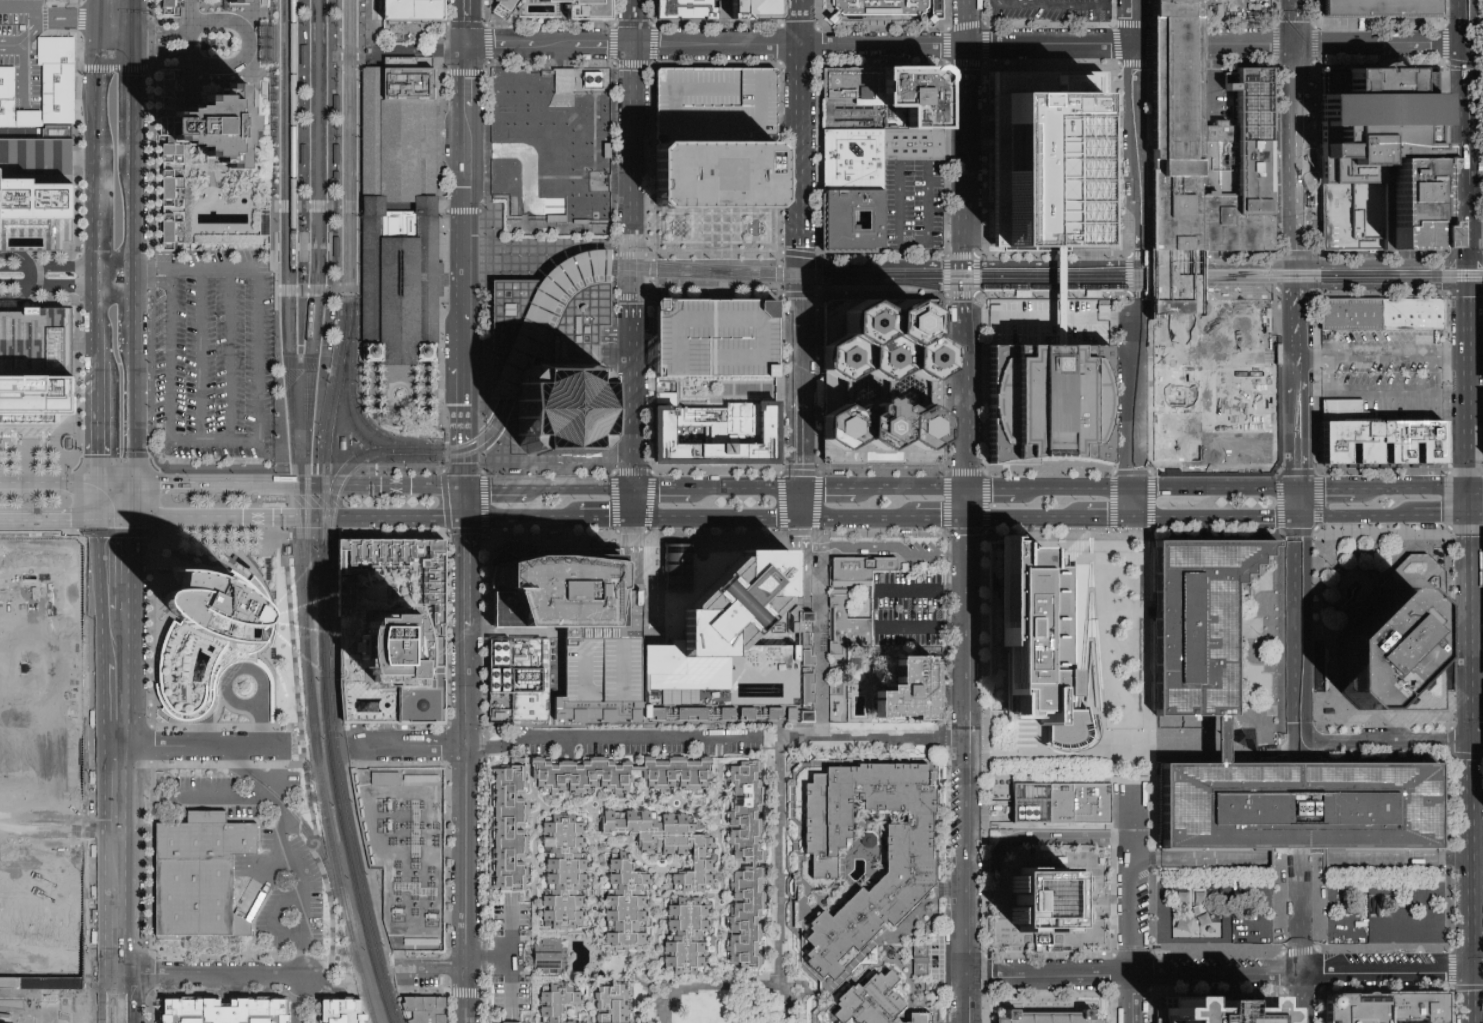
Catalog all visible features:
road: (81, 1)
building: (236, 1)
road: (1004, 4)
road: (1237, 4)
road: (1061, 5)
road: (23, 6)
road: (100, 8)
building: (171, 8)
building: (503, 8)
building: (584, 8)
building: (885, 9)
parking lot: (1243, 9)
building: (1380, 9)
building: (414, 10)
building: (688, 10)
building: (748, 10)
parking lot: (1055, 10)
road: (514, 11)
building: (541, 11)
road: (652, 12)
road: (456, 13)
road: (71, 17)
road: (258, 17)
road: (80, 19)
road: (476, 19)
road: (1482, 19)
road: (130, 22)
road: (803, 22)
road: (969, 22)
road: (1296, 22)
road: (1461, 22)
road: (202, 23)
road: (549, 23)
road: (633, 23)
road: (1473, 23)
road: (485, 26)
road: (29, 30)
road: (99, 30)
road: (456, 32)
traffic signals: (456, 38)
road: (473, 38)
traffic signals: (475, 38)
road: (511, 38)
road: (563, 39)
traffic signals: (98, 44)
road: (114, 44)
traffic signals: (131, 45)
road: (456, 45)
road: (475, 45)
road: (718, 45)
road: (886, 45)
road: (1062, 45)
road: (1181, 45)
road: (1252, 45)
road: (1382, 45)
traffic signals: (1468, 45)
road: (10, 46)
road: (613, 46)
parking lot: (22, 50)
road: (401, 51)
road: (189, 53)
traffic signals: (456, 53)
road: (465, 53)
traffic signals: (475, 53)
road: (535, 53)
road: (387, 55)
building: (302, 56)
road: (651, 65)
road: (255, 73)
road: (464, 73)
road: (21, 75)
road: (475, 77)
railway: (283, 80)
railway: (292, 80)
railway: (313, 80)
building: (407, 84)
building: (855, 84)
building: (43, 90)
road: (456, 97)
building: (921, 98)
road: (130, 99)
road: (98, 103)
parking lot: (719, 106)
road: (486, 112)
building: (851, 115)
road: (151, 127)
building: (217, 129)
road: (1138, 132)
building: (719, 139)
road: (803, 140)
building: (553, 143)
road: (358, 144)
building: (1210, 145)
building: (919, 146)
building: (1379, 146)
railway: (345, 151)
railway: (353, 152)
road: (965, 154)
road: (1297, 154)
road: (1469, 154)
building: (303, 155)
building: (335, 155)
road: (632, 155)
road: (474, 157)
building: (1052, 159)
building: (171, 162)
building: (855, 162)
road: (928, 164)
road: (298, 177)
road: (946, 177)
helipad: (721, 178)
road: (1302, 188)
building: (37, 190)
road: (317, 206)
building: (1414, 207)
road: (398, 209)
parking lot: (914, 209)
road: (441, 210)
road: (774, 210)
road: (464, 211)
road: (97, 212)
road: (130, 212)
building: (855, 224)
road: (459, 227)
railway: (323, 228)
building: (397, 228)
building: (1482, 228)
road: (273, 234)
road: (330, 235)
road: (547, 248)
road: (803, 251)
road: (775, 253)
road: (947, 253)
road: (1052, 253)
road: (590, 254)
railway: (603, 254)
road: (900, 254)
road: (561, 256)
road: (610, 256)
road: (645, 256)
road: (780, 261)
road: (1045, 263)
road: (1136, 263)
road: (1220, 263)
traffic signals: (1298, 263)
road: (1308, 263)
road: (1394, 263)
traffic signals: (1470, 263)
road: (1476, 263)
railway: (644, 264)
road: (882, 264)
traffic signals: (962, 264)
traffic signals: (1143, 264)
road: (1129, 265)
road: (561, 266)
traffic signals: (803, 267)
road: (212, 269)
traffic signals: (130, 270)
road: (150, 270)
road: (803, 270)
road: (113, 271)
road: (962, 271)
railway: (1116, 271)
railway: (1377, 272)
road: (48, 273)
traffic signals: (97, 273)
railway: (720, 273)
railway: (822, 274)
railway: (681, 275)
road: (1298, 275)
road: (780, 276)
railway: (1239, 276)
railway: (1024, 278)
railway: (820, 279)
railway: (1186, 279)
railway: (1345, 279)
road: (609, 280)
road: (149, 281)
road: (803, 281)
road: (962, 283)
road: (78, 284)
railway: (1024, 285)
road: (1476, 285)
road: (1394, 286)
traffic signals: (1470, 286)
traffic signals: (1298, 287)
road: (1308, 287)
road: (1220, 288)
traffic signals: (1142, 289)
road: (318, 290)
railway: (985, 293)
road: (1053, 293)
road: (1057, 294)
railway: (359, 295)
road: (819, 295)
railway: (339, 296)
road: (631, 297)
railway: (284, 302)
railway: (292, 302)
road: (130, 305)
railway: (310, 308)
road: (529, 309)
building: (1354, 315)
railway: (537, 316)
building: (1415, 316)
road: (1062, 317)
railway: (543, 322)
parking lot: (1052, 322)
road: (96, 323)
helipad: (903, 323)
road: (962, 327)
road: (549, 328)
road: (614, 330)
road: (615, 339)
building: (717, 339)
parking garage: (717, 339)
road: (459, 341)
road: (803, 341)
road: (473, 349)
building: (554, 353)
road: (200, 354)
road: (229, 354)
railway: (299, 354)
parking lot: (215, 356)
road: (1385, 356)
road: (300, 358)
road: (614, 359)
road: (299, 363)
building: (36, 364)
road: (612, 365)
helipad: (1050, 365)
road: (130, 370)
road: (780, 371)
road: (397, 373)
road: (1471, 374)
road: (1136, 375)
parking lot: (1384, 376)
road: (632, 377)
road: (440, 378)
building: (884, 379)
road: (387, 386)
road: (459, 386)
road: (1299, 386)
building: (757, 390)
road: (1381, 393)
fountain: (398, 394)
road: (426, 394)
building: (1048, 401)
railway: (354, 402)
railway: (499, 408)
railway: (347, 409)
railway: (518, 409)
road: (486, 410)
railway: (505, 414)
railway: (328, 425)
road: (431, 425)
road: (966, 427)
railway: (333, 428)
helipad: (883, 428)
road: (504, 432)
building: (717, 433)
road: (95, 435)
road: (214, 439)
road: (803, 441)
railway: (470, 442)
road: (130, 443)
building: (1384, 444)
road: (72, 447)
road: (459, 447)
railway: (471, 452)
railway: (279, 463)
railway: (346, 463)
railway: (314, 464)
traffic signals: (1300, 464)
road: (74, 471)
road: (1131, 471)
railway: (351, 472)
road: (443, 472)
road: (1214, 472)
road: (548, 473)
road: (947, 473)
road: (47, 486)
road: (113, 486)
traffic signals: (131, 486)
road: (143, 486)
road: (194, 486)
road: (1216, 486)
traffic signals: (1323, 486)
road: (1326, 486)
road: (1412, 486)
road: (1477, 486)
traffic signals: (95, 487)
road: (1077, 487)
road: (339, 488)
road: (993, 488)
road: (452, 489)
traffic signals: (459, 489)
road: (466, 489)
traffic signals: (474, 489)
road: (490, 489)
road: (514, 489)
road: (576, 489)
road: (746, 489)
road: (829, 489)
road: (911, 489)
road: (660, 490)
traffic signals: (632, 491)
road: (1473, 501)
road: (95, 502)
road: (130, 502)
road: (1133, 502)
road: (1300, 502)
road: (463, 503)
road: (471, 503)
road: (803, 503)
road: (632, 504)
road: (967, 504)
road: (1355, 517)
road: (1442, 517)
traffic signals: (1442, 517)
road: (1478, 517)
road: (47, 518)
traffic signals: (95, 518)
road: (112, 518)
traffic signals: (130, 518)
road: (281, 518)
road: (450, 518)
traffic signals: (468, 518)
road: (476, 518)
road: (532, 518)
road: (606, 518)
traffic signals: (632, 518)
road: (717, 518)
road: (859, 518)
road: (940, 518)
road: (1025, 518)
road: (1108, 518)
road: (1216, 518)
traffic signals: (1278, 518)
road: (616, 526)
road: (784, 528)
road: (229, 529)
road: (448, 529)
road: (550, 531)
road: (715, 532)
road: (885, 532)
road: (1319, 532)
road: (1132, 534)
traffic signals: (1473, 538)
railway: (300, 540)
railway: (306, 546)
road: (870, 548)
road: (632, 554)
road: (130, 564)
building: (1422, 567)
building: (860, 571)
road: (467, 574)
building: (501, 578)
helipad: (755, 587)
road: (96, 590)
building: (564, 590)
road: (920, 591)
parking lot: (913, 601)
building: (505, 612)
building: (208, 615)
railway: (330, 615)
building: (1202, 621)
road: (1335, 621)
road: (920, 627)
building: (847, 628)
building: (392, 630)
road: (514, 631)
road: (613, 631)
road: (484, 632)
building: (1036, 636)
road: (1302, 640)
building: (730, 642)
building: (1384, 649)
building: (1412, 664)
building: (605, 667)
parking lot: (605, 667)
road: (1133, 676)
building: (517, 677)
road: (127, 678)
road: (226, 678)
building: (908, 691)
building: (838, 700)
road: (97, 704)
road: (1479, 712)
road: (260, 721)
road: (521, 729)
road: (622, 738)
road: (896, 738)
road: (1218, 738)
road: (772, 739)
road: (1221, 739)
road: (1374, 739)
road: (1479, 739)
road: (788, 740)
road: (1460, 740)
road: (152, 744)
road: (1475, 744)
road: (194, 745)
road: (417, 746)
road: (447, 747)
road: (484, 747)
road: (967, 747)
road: (565, 749)
road: (1050, 759)
building: (385, 776)
road: (305, 777)
railway: (321, 781)
road: (124, 784)
railway: (336, 788)
building: (1001, 795)
road: (249, 797)
building: (1064, 804)
building: (1302, 806)
road: (1303, 806)
road: (446, 811)
road: (99, 815)
road: (465, 827)
road: (1055, 838)
power substation: (405, 851)
railway: (354, 852)
building: (639, 853)
road: (1401, 858)
road: (1203, 859)
building: (910, 861)
building: (198, 872)
road: (148, 873)
road: (259, 881)
park: (780, 883)
road: (1478, 883)
road: (295, 886)
road: (484, 891)
building: (1191, 894)
building: (1048, 897)
road: (126, 900)
road: (1092, 902)
road: (1134, 904)
park: (1384, 907)
park: (1214, 908)
road: (1304, 911)
road: (509, 912)
road: (100, 931)
road: (509, 943)
road: (871, 947)
building: (544, 954)
road: (487, 957)
building: (916, 960)
road: (447, 964)
parking lot: (1376, 964)
road: (432, 967)
road: (1388, 972)
railway: (361, 974)
road: (1219, 974)
road: (1050, 975)
traffic signals: (101, 977)
road: (115, 977)
traffic signals: (129, 977)
road: (216, 977)
road: (51, 983)
road: (448, 983)
road: (508, 985)
road: (706, 986)
road: (215, 991)
road: (466, 991)
road: (137, 995)
road: (1472, 997)
road: (1304, 998)
road: (304, 999)
road: (966, 999)
road: (1134, 999)
road: (101, 1000)
road: (129, 1000)
road: (789, 1001)
building: (579, 1003)
building: (874, 1003)
road: (449, 1006)
building: (1363, 1006)
building: (1421, 1006)
building: (425, 1008)
building: (226, 1009)
building: (343, 1010)
building: (1216, 1011)
building: (1055, 1017)

